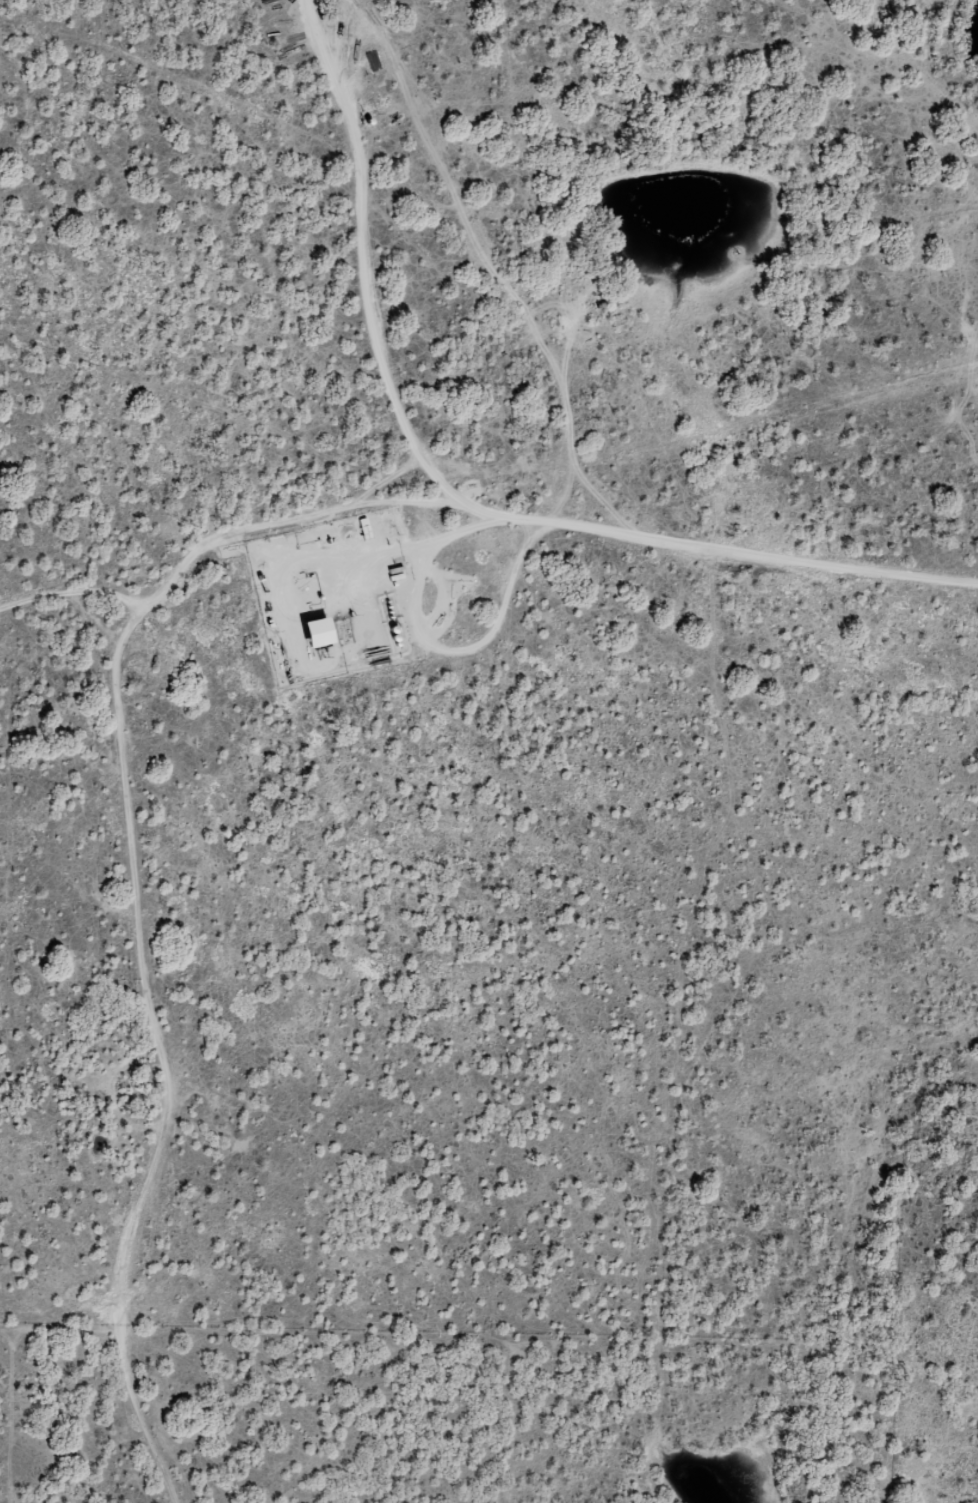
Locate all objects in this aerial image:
road: (484, 543)
building: (321, 633)

